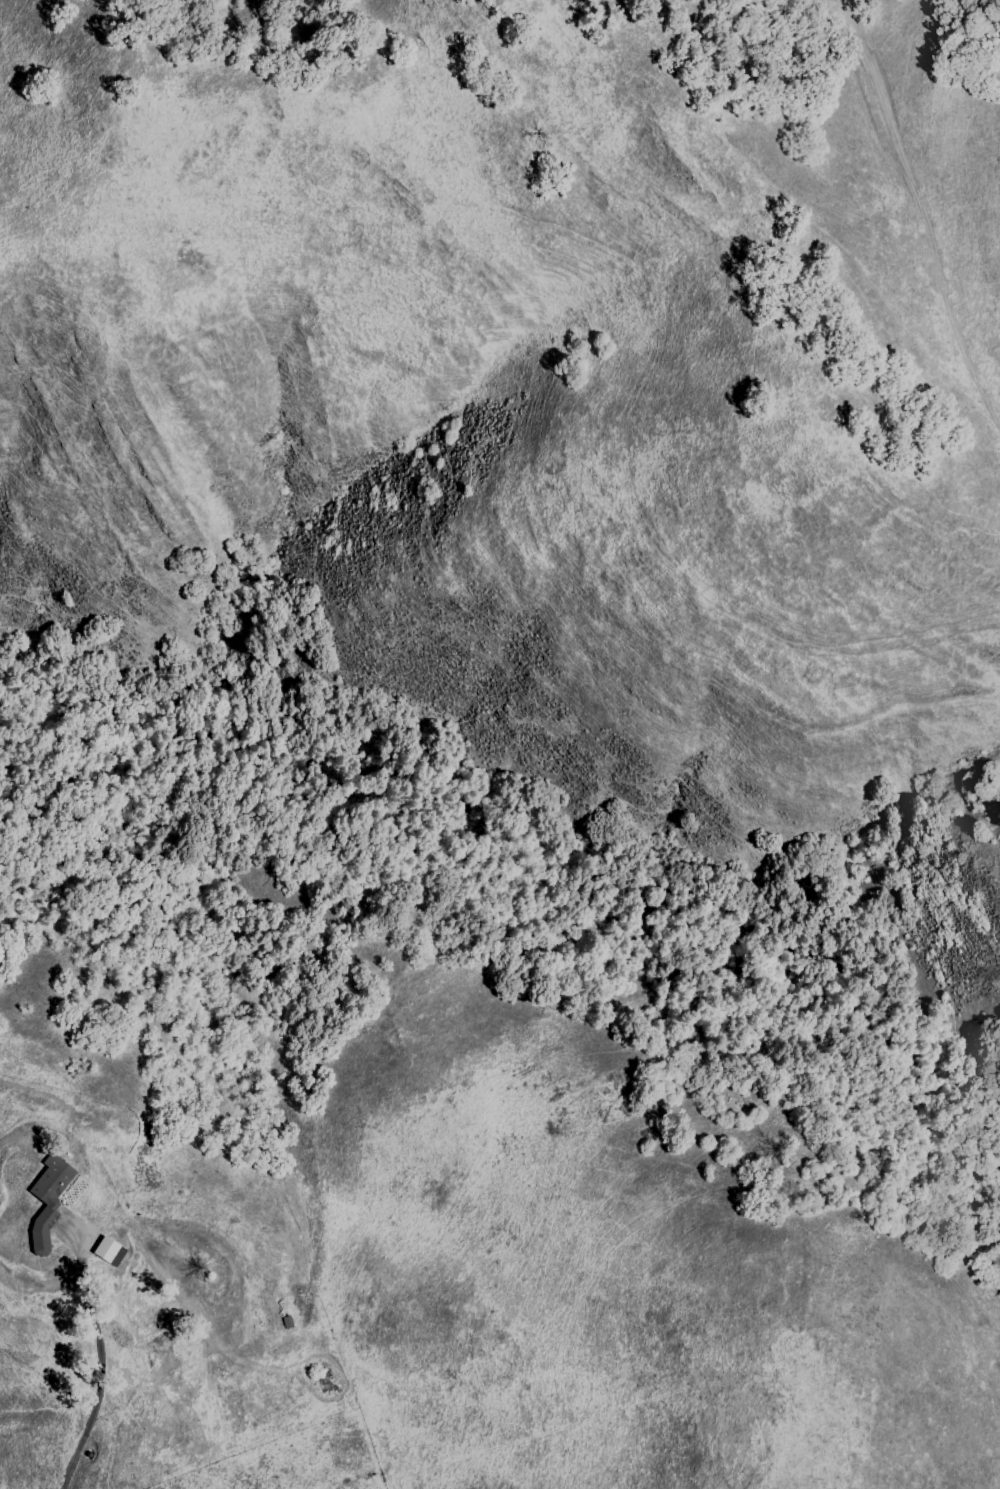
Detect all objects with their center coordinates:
building: (47, 1201)
building: (108, 1251)
road: (100, 1374)

